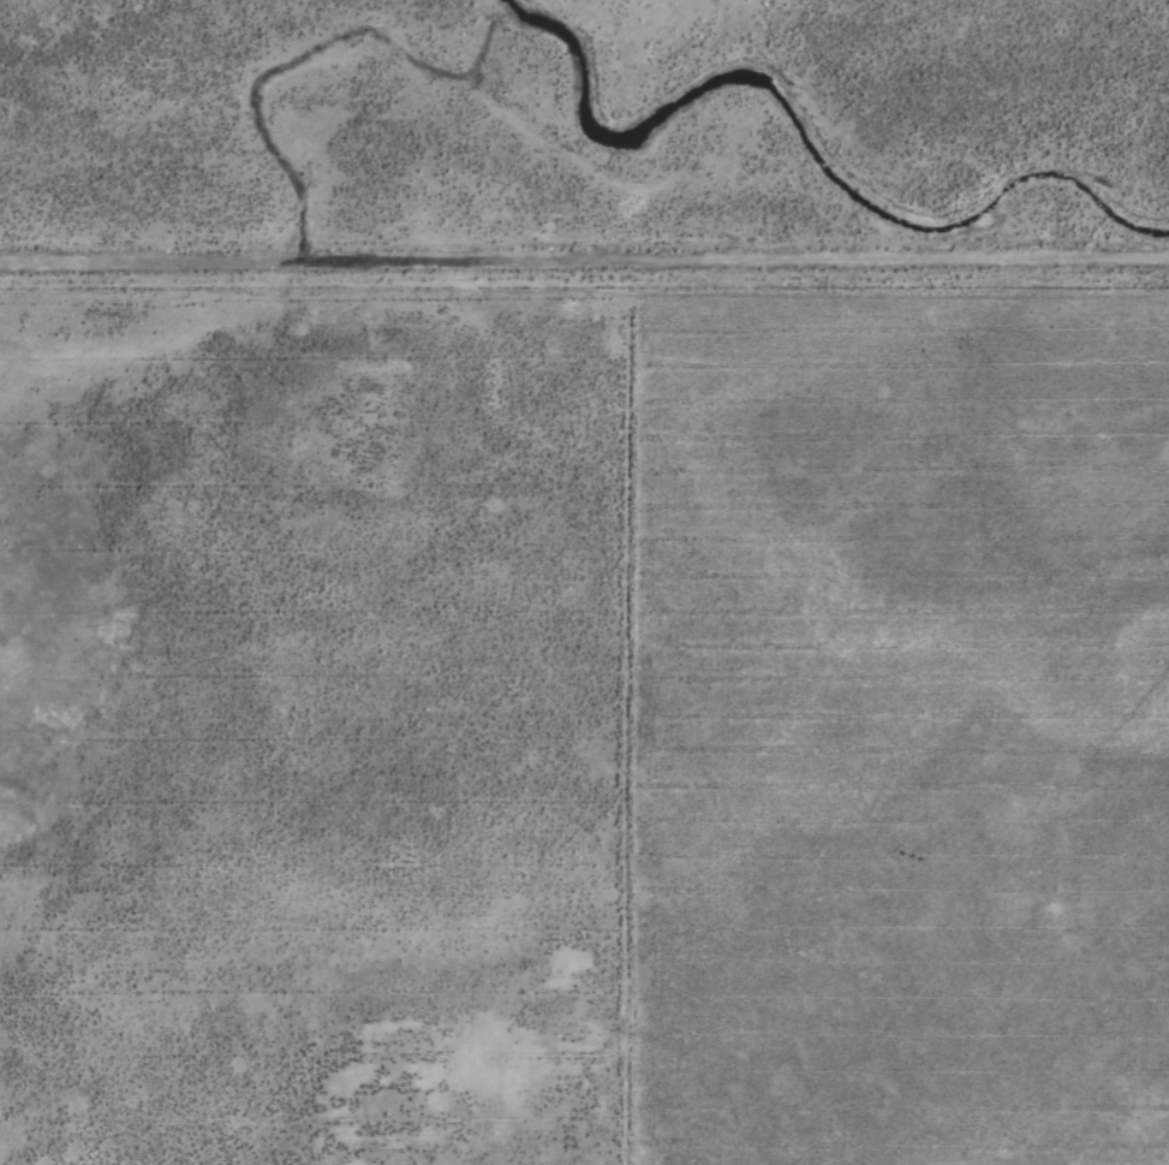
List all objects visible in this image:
crop: (584, 582)

